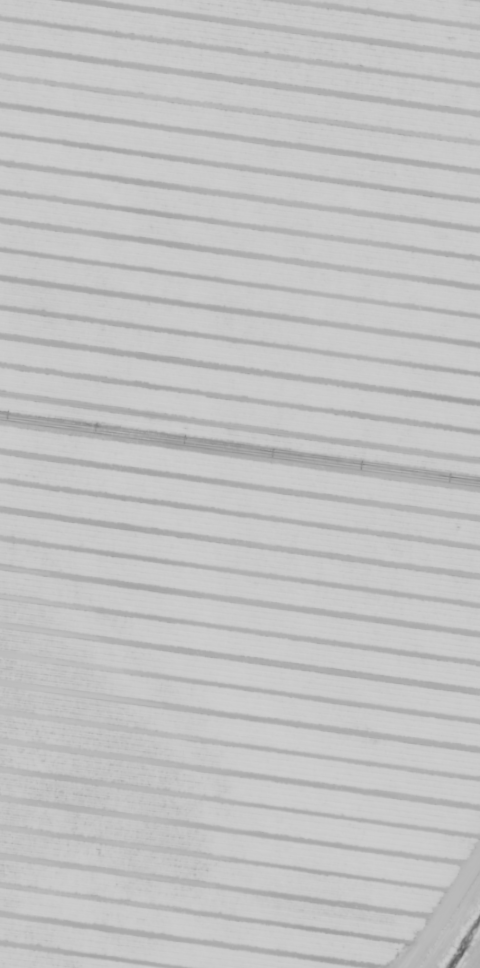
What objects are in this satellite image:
road: (443, 908)

